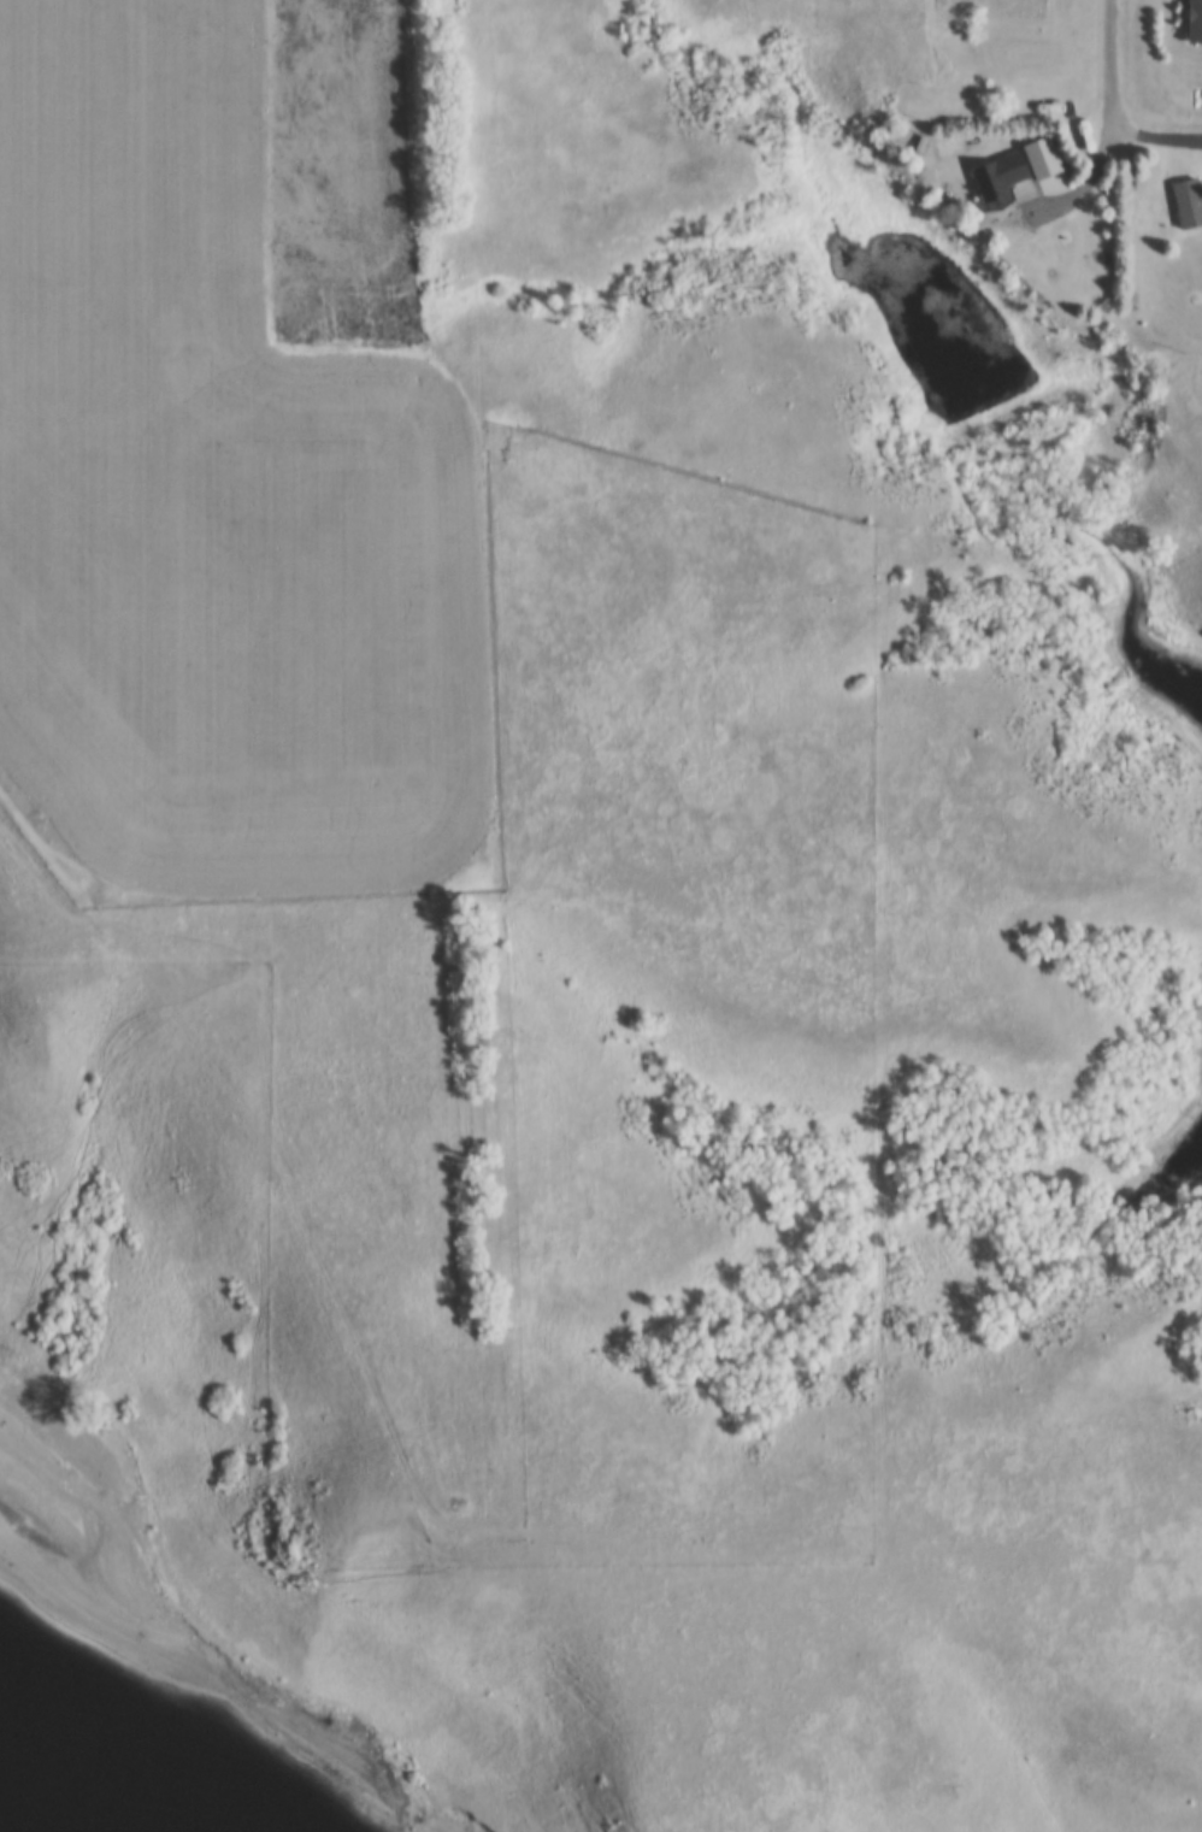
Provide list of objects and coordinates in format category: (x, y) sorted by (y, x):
building: (1195, 22)
road: (1115, 54)
road: (1151, 140)
building: (923, 145)
building: (1045, 158)
building: (1002, 176)
road: (1084, 185)
building: (1189, 202)

